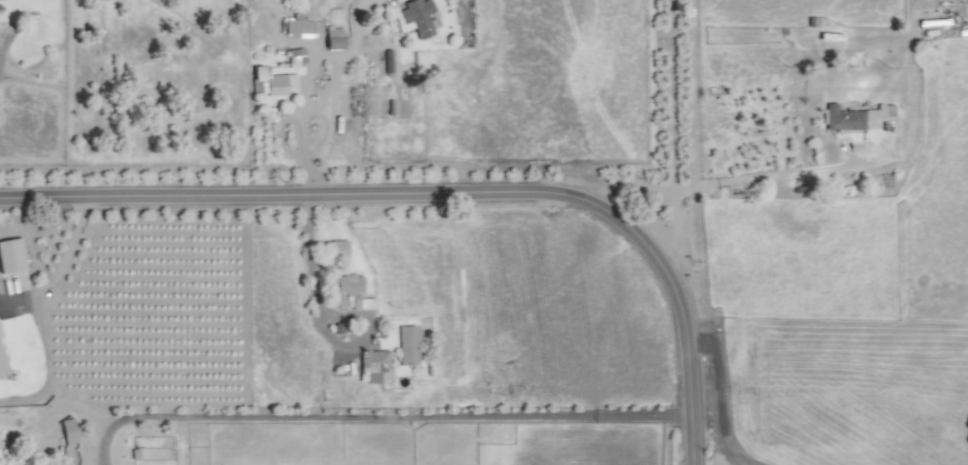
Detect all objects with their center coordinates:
building: (415, 19)
building: (299, 28)
building: (335, 39)
building: (296, 58)
building: (275, 83)
building: (856, 118)
road: (669, 138)
road: (616, 192)
road: (446, 194)
crop: (799, 215)
building: (338, 250)
building: (11, 257)
road: (60, 271)
building: (351, 294)
road: (322, 317)
building: (341, 329)
building: (408, 346)
building: (2, 367)
building: (375, 368)
road: (377, 418)
building: (69, 432)

